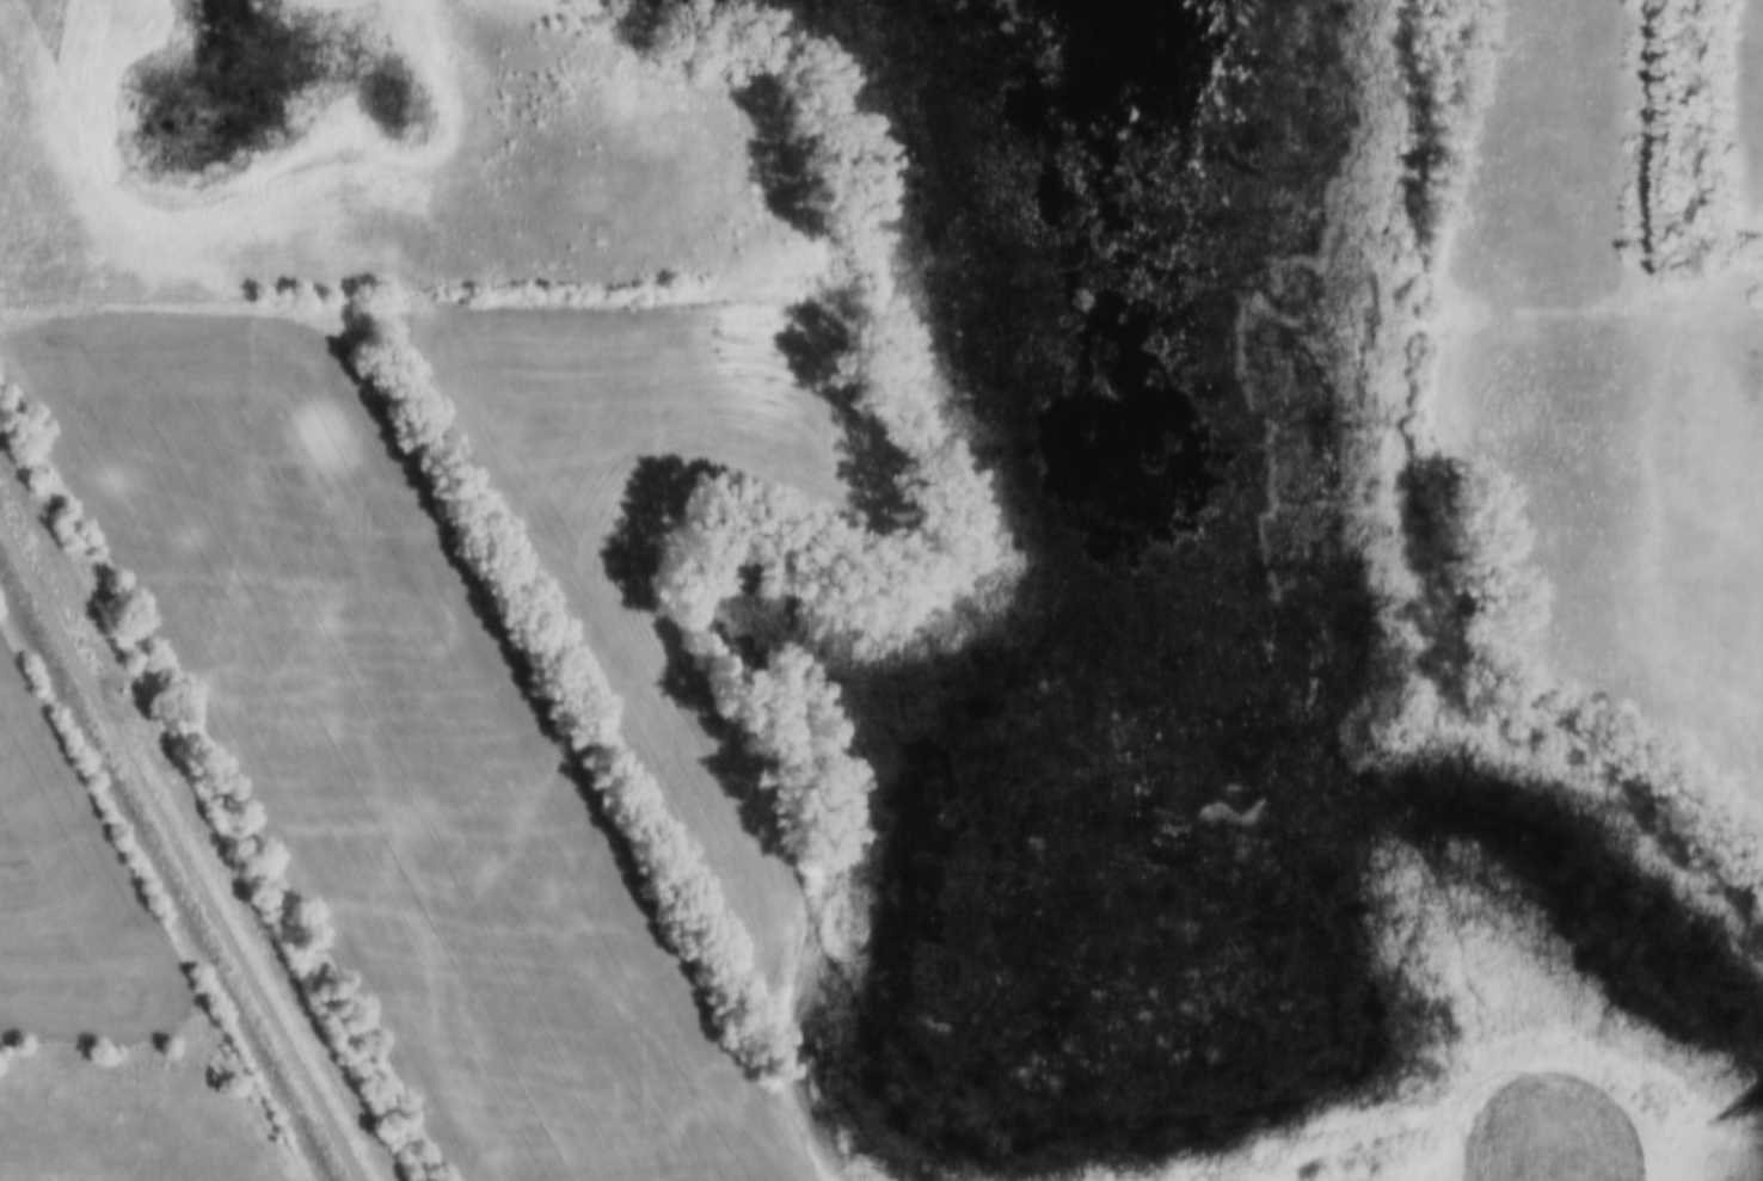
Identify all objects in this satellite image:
road: (1708, 310)
road: (182, 844)

